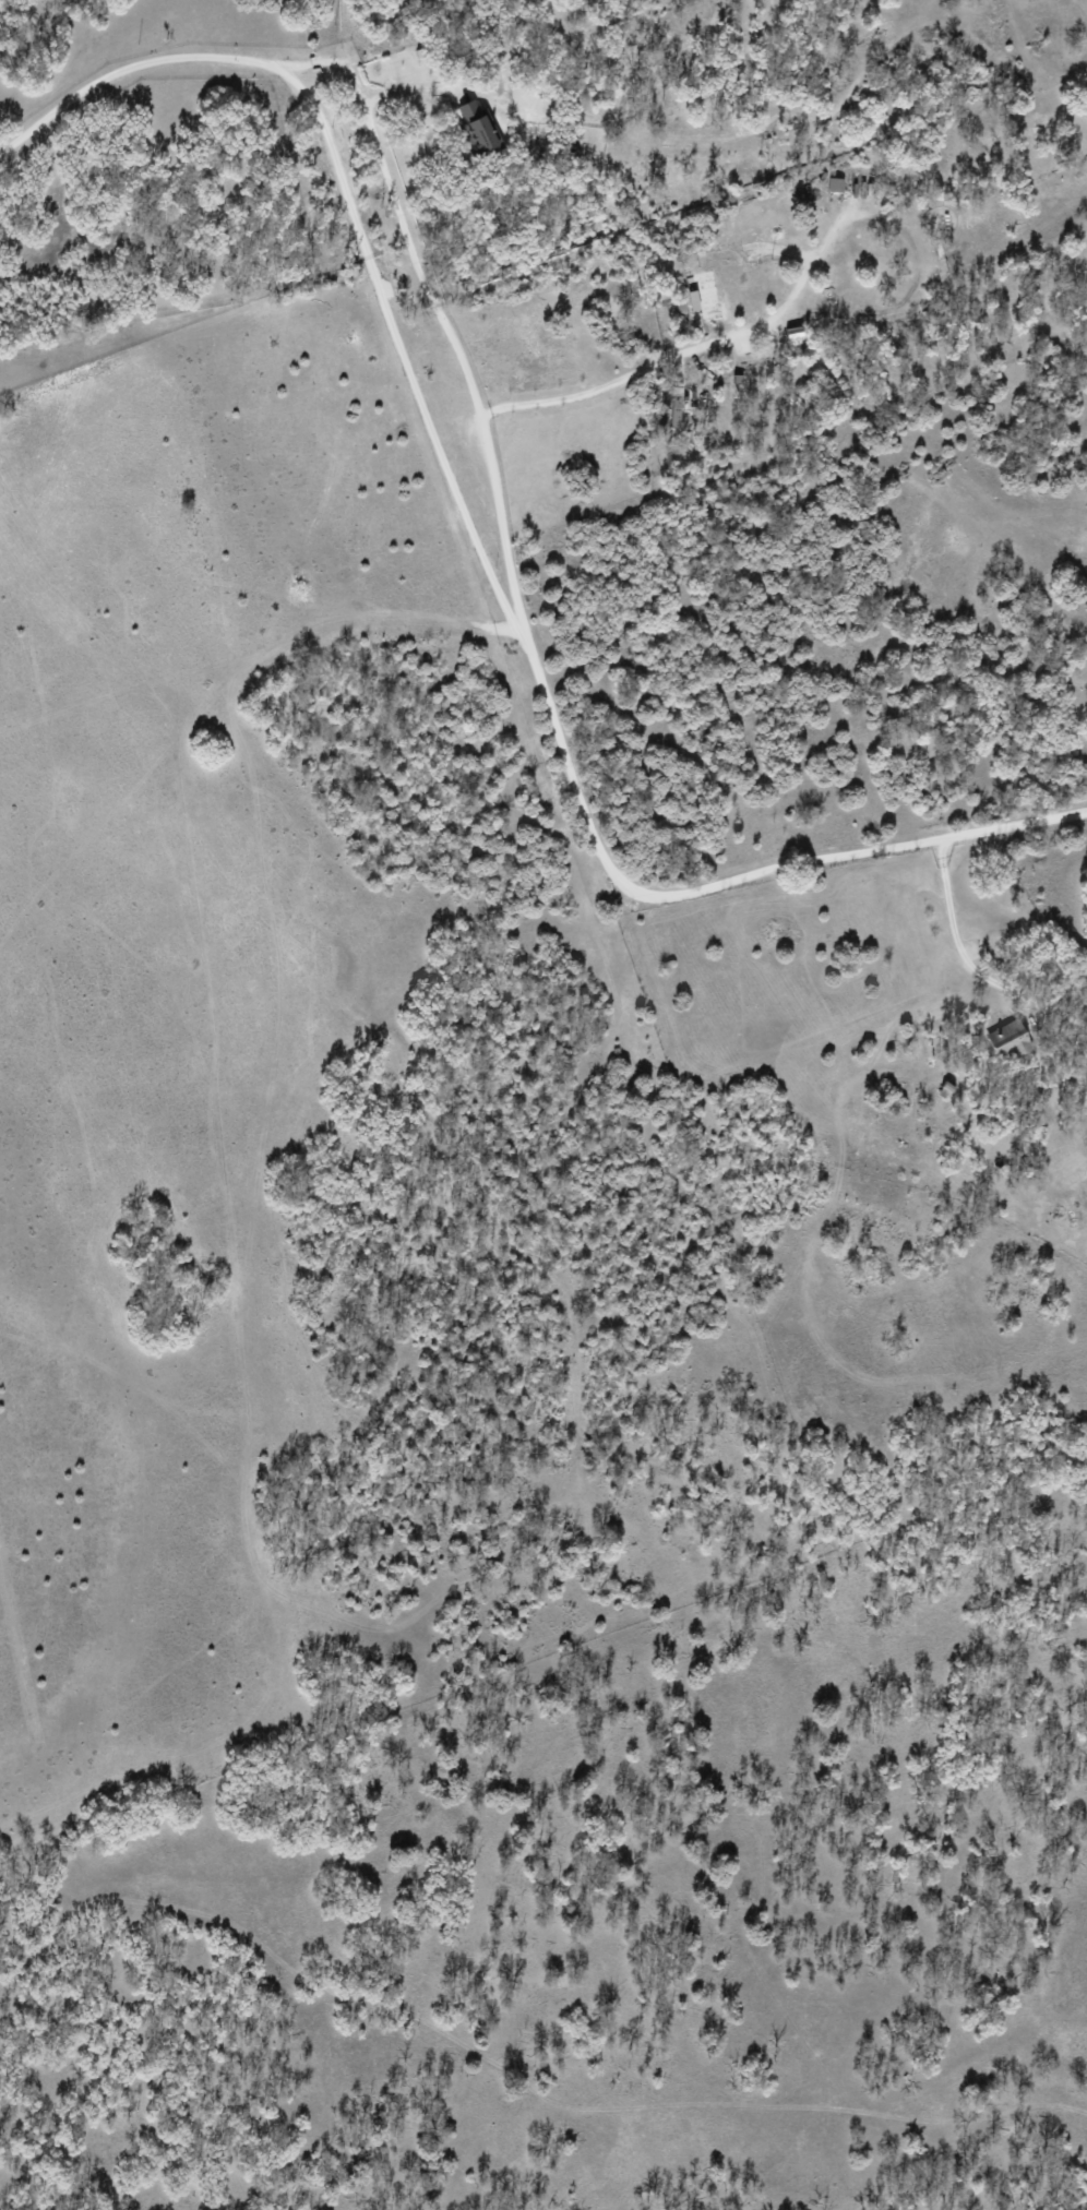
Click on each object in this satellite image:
road: (342, 29)
road: (159, 59)
building: (852, 182)
road: (686, 353)
road: (403, 357)
road: (547, 698)
road: (951, 922)

